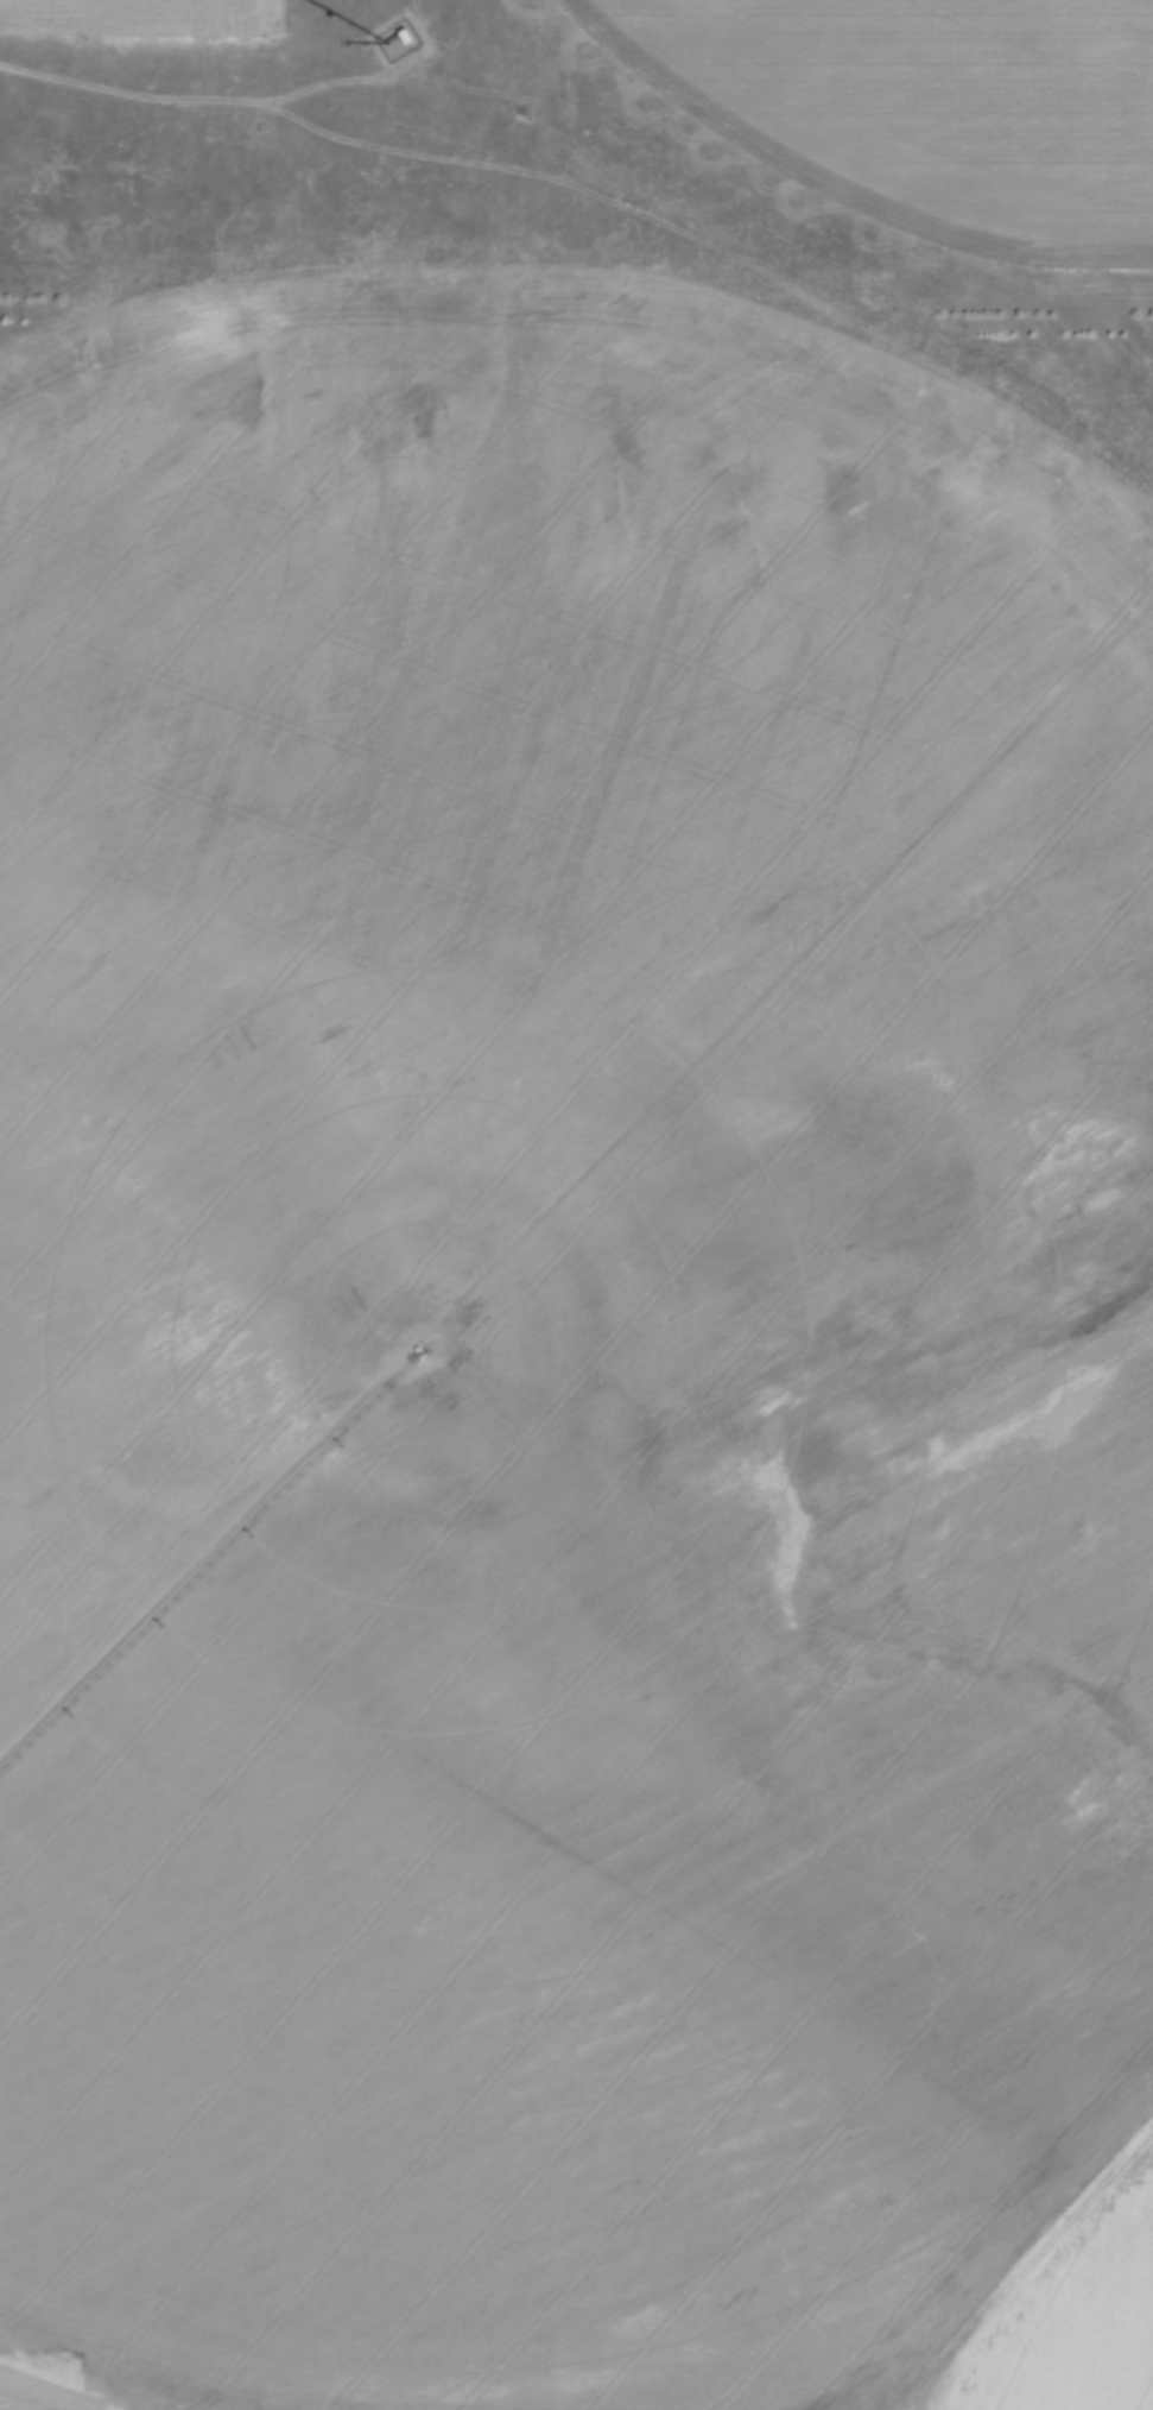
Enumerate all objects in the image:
building: (405, 36)

